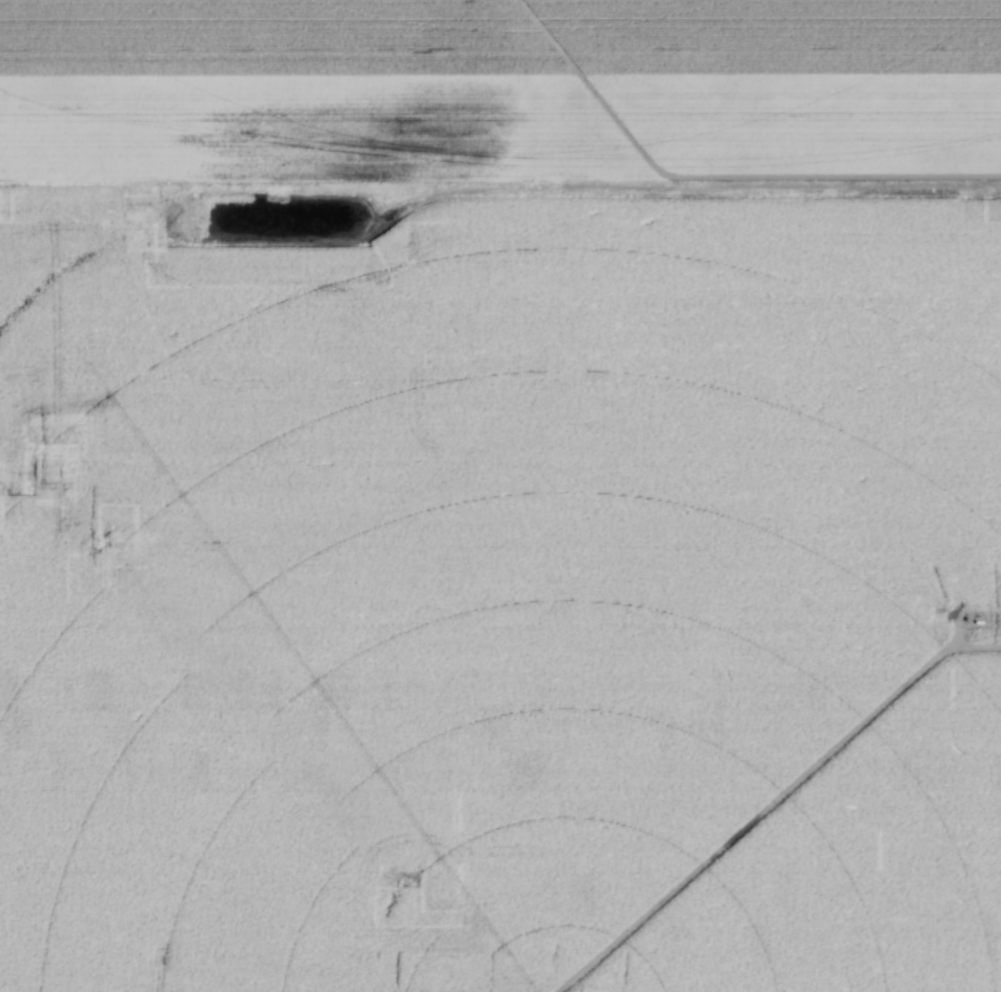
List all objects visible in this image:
power tower: (100, 547)
power tower: (402, 876)

